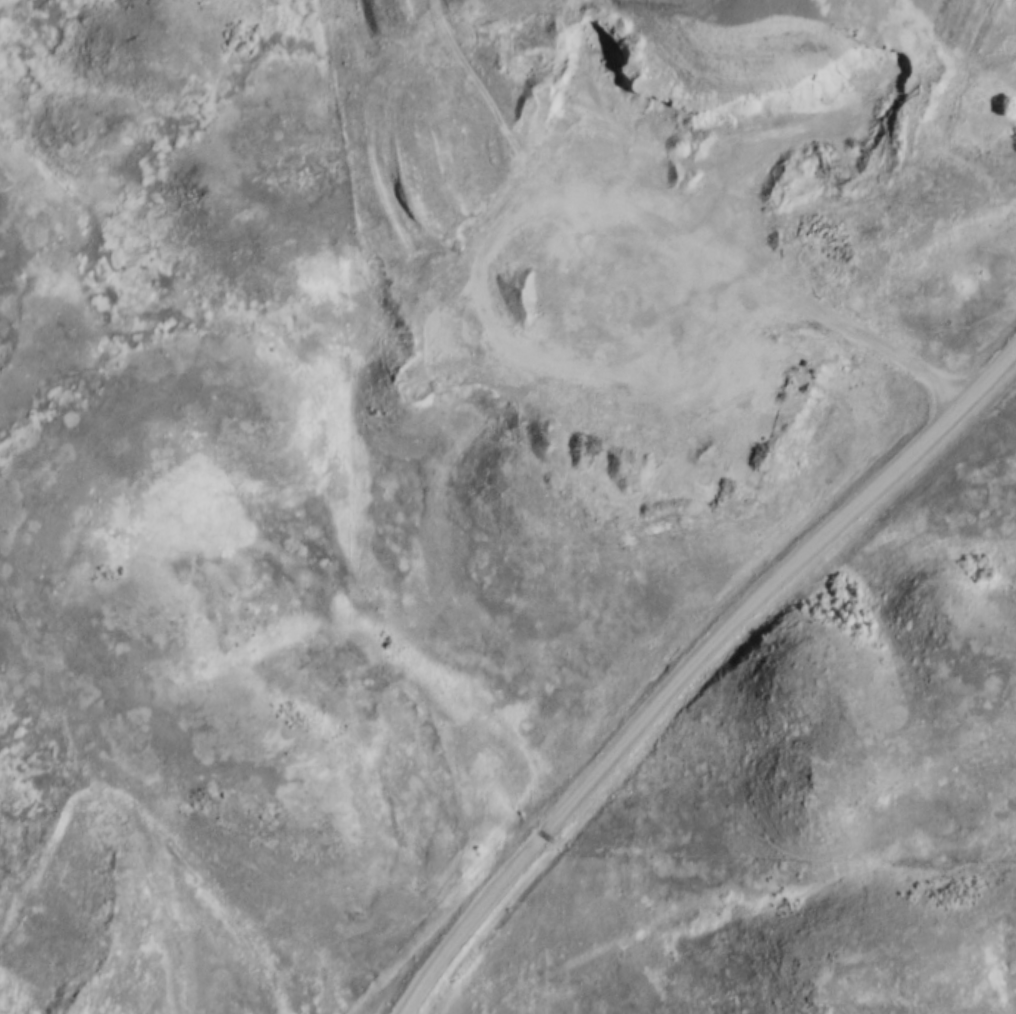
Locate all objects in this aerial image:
road: (935, 171)
quarry: (659, 263)
road: (797, 309)
road: (687, 663)
road: (159, 906)
quarry: (65, 908)

